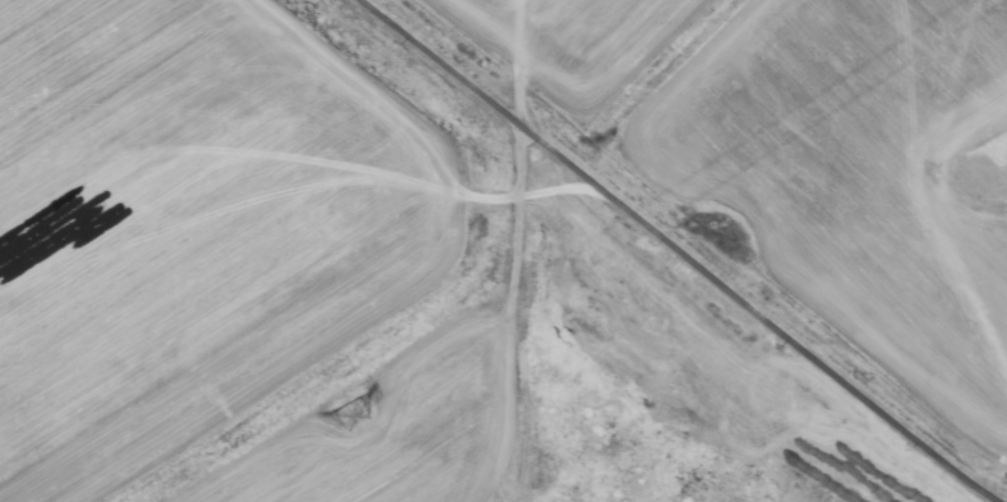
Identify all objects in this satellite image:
road: (682, 251)
power tower: (354, 412)

